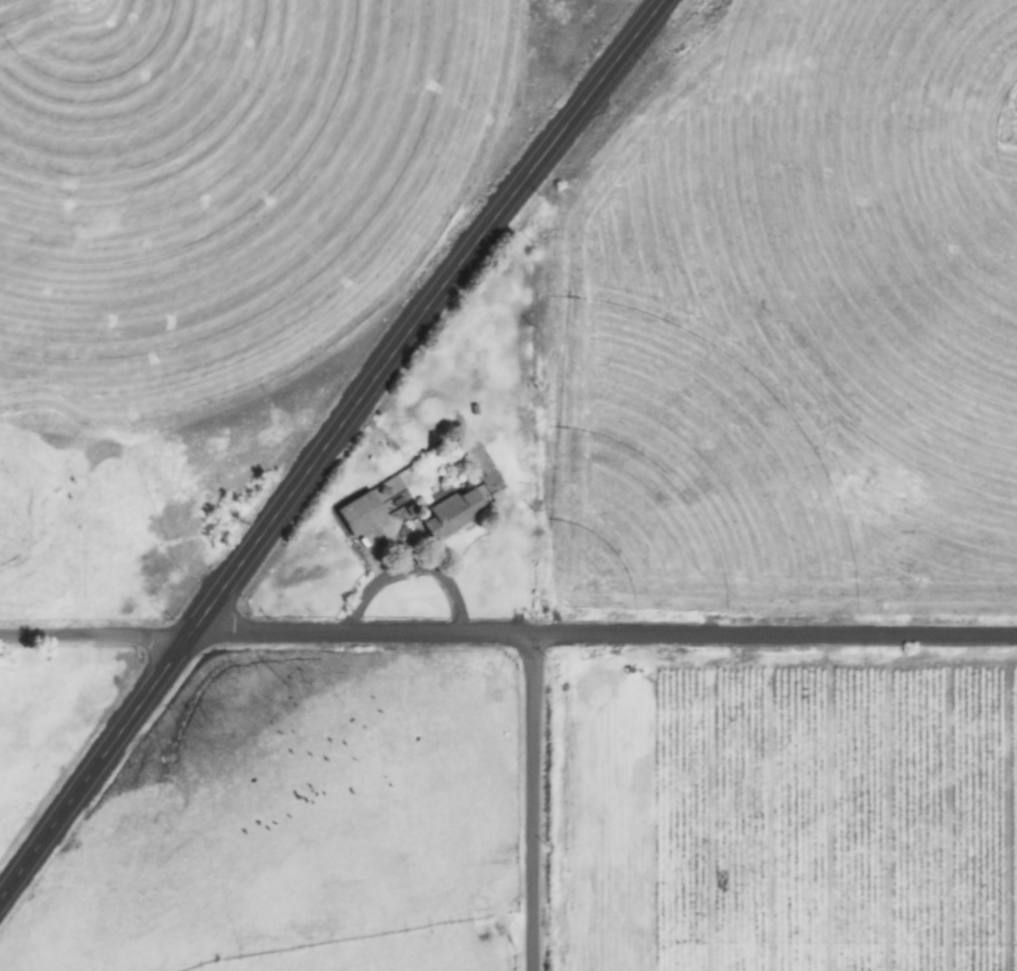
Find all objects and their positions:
road: (325, 444)
building: (454, 513)
building: (365, 523)
road: (95, 631)
road: (359, 633)
road: (772, 635)
crop: (511, 790)
road: (527, 803)

